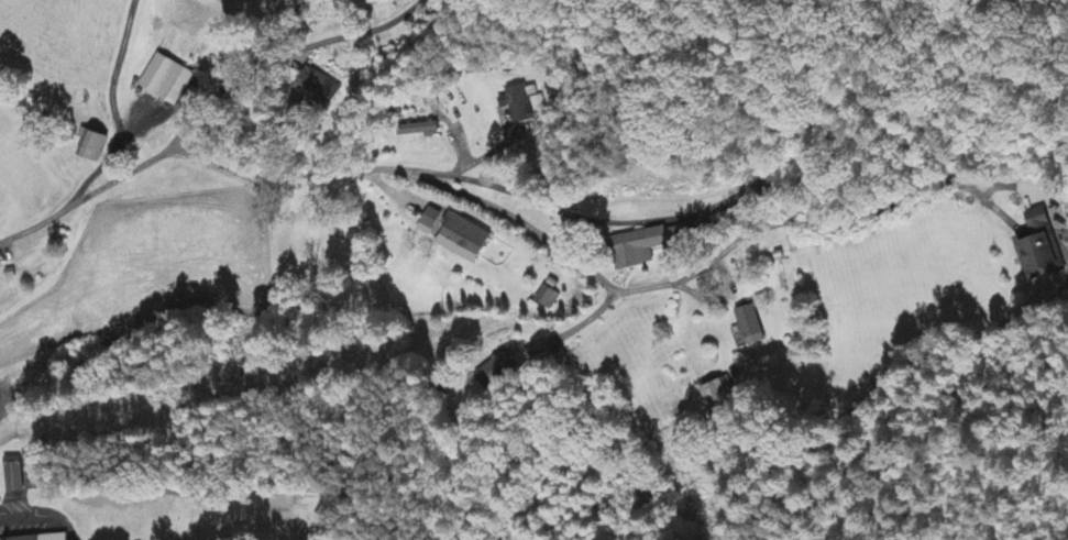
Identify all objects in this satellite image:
building: (167, 81)
building: (318, 90)
building: (522, 103)
building: (418, 131)
building: (93, 146)
road: (172, 147)
road: (541, 201)
building: (430, 223)
building: (463, 240)
building: (648, 246)
building: (1039, 250)
building: (546, 299)
building: (750, 328)
building: (498, 373)
building: (718, 396)
building: (31, 473)
building: (13, 480)
park: (245, 521)
building: (44, 537)

